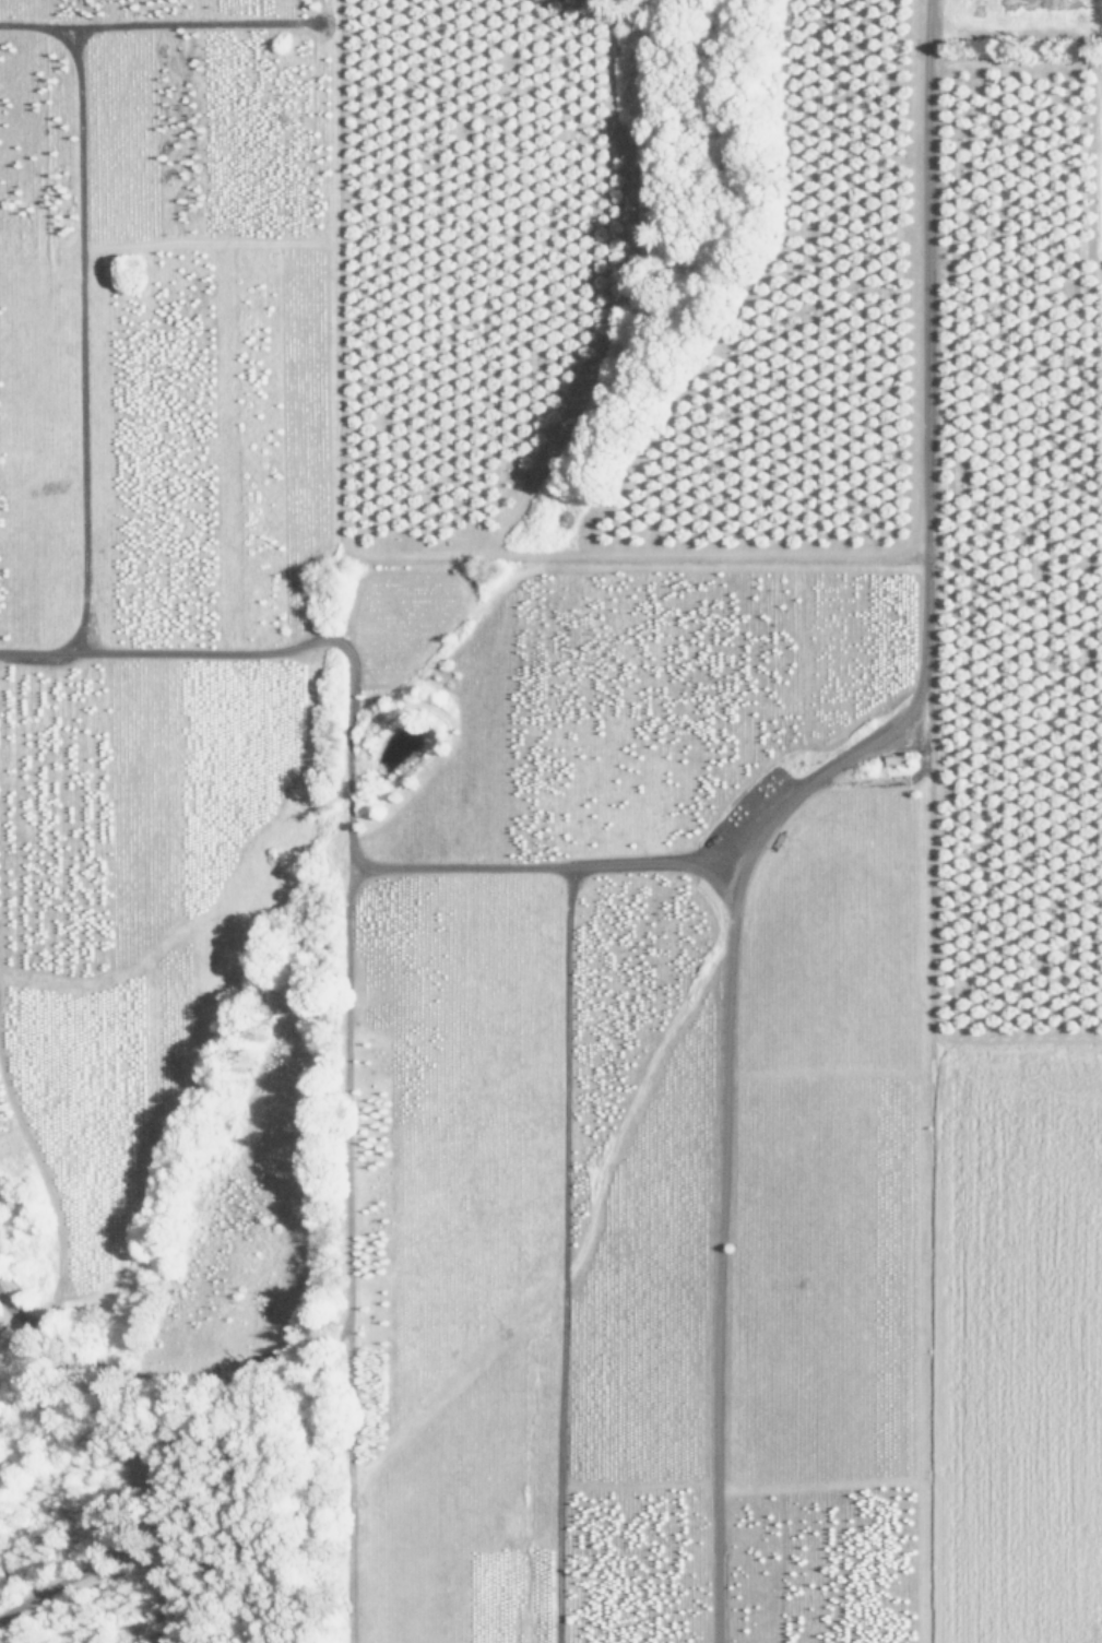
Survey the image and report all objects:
road: (83, 343)
road: (351, 726)
road: (790, 799)
road: (558, 1169)
road: (159, 1456)

